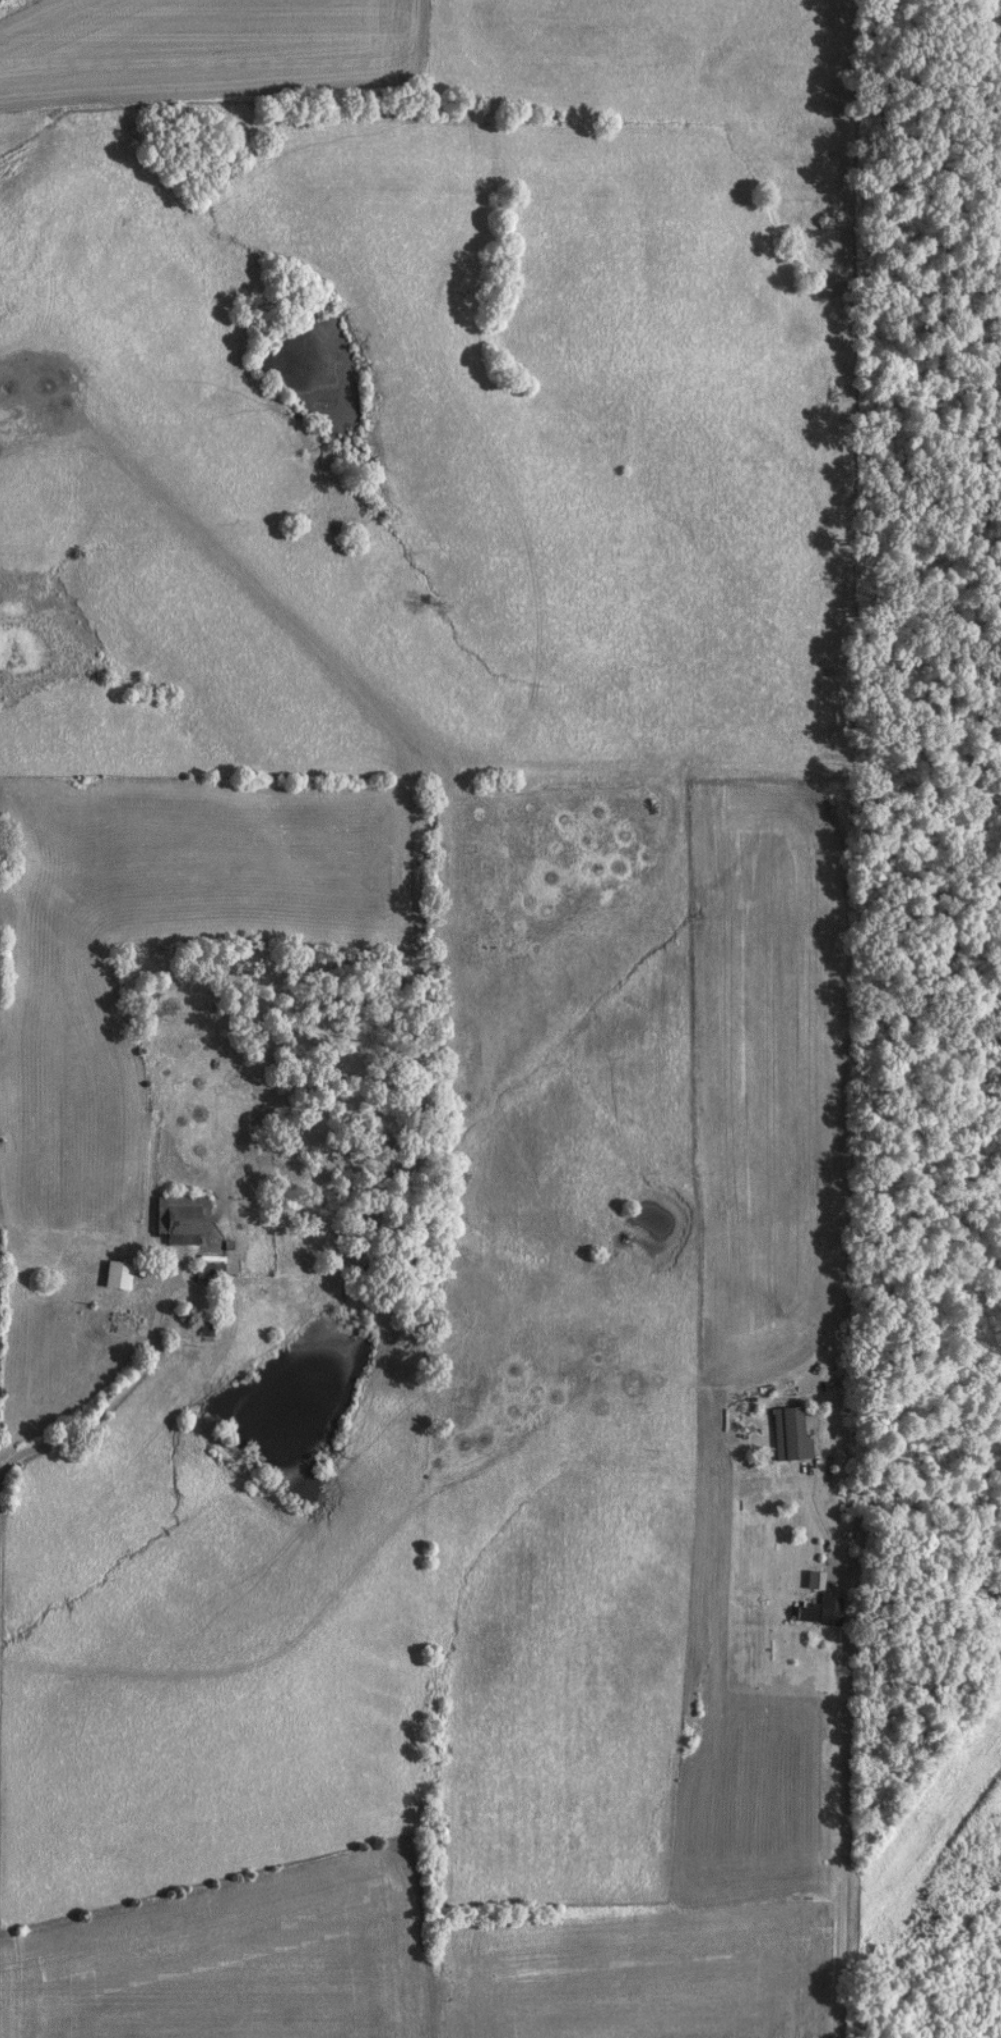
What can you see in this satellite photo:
building: (174, 1219)
building: (200, 1274)
building: (112, 1276)
road: (117, 1397)
building: (785, 1437)
building: (810, 1581)
building: (816, 1613)
road: (852, 1839)

